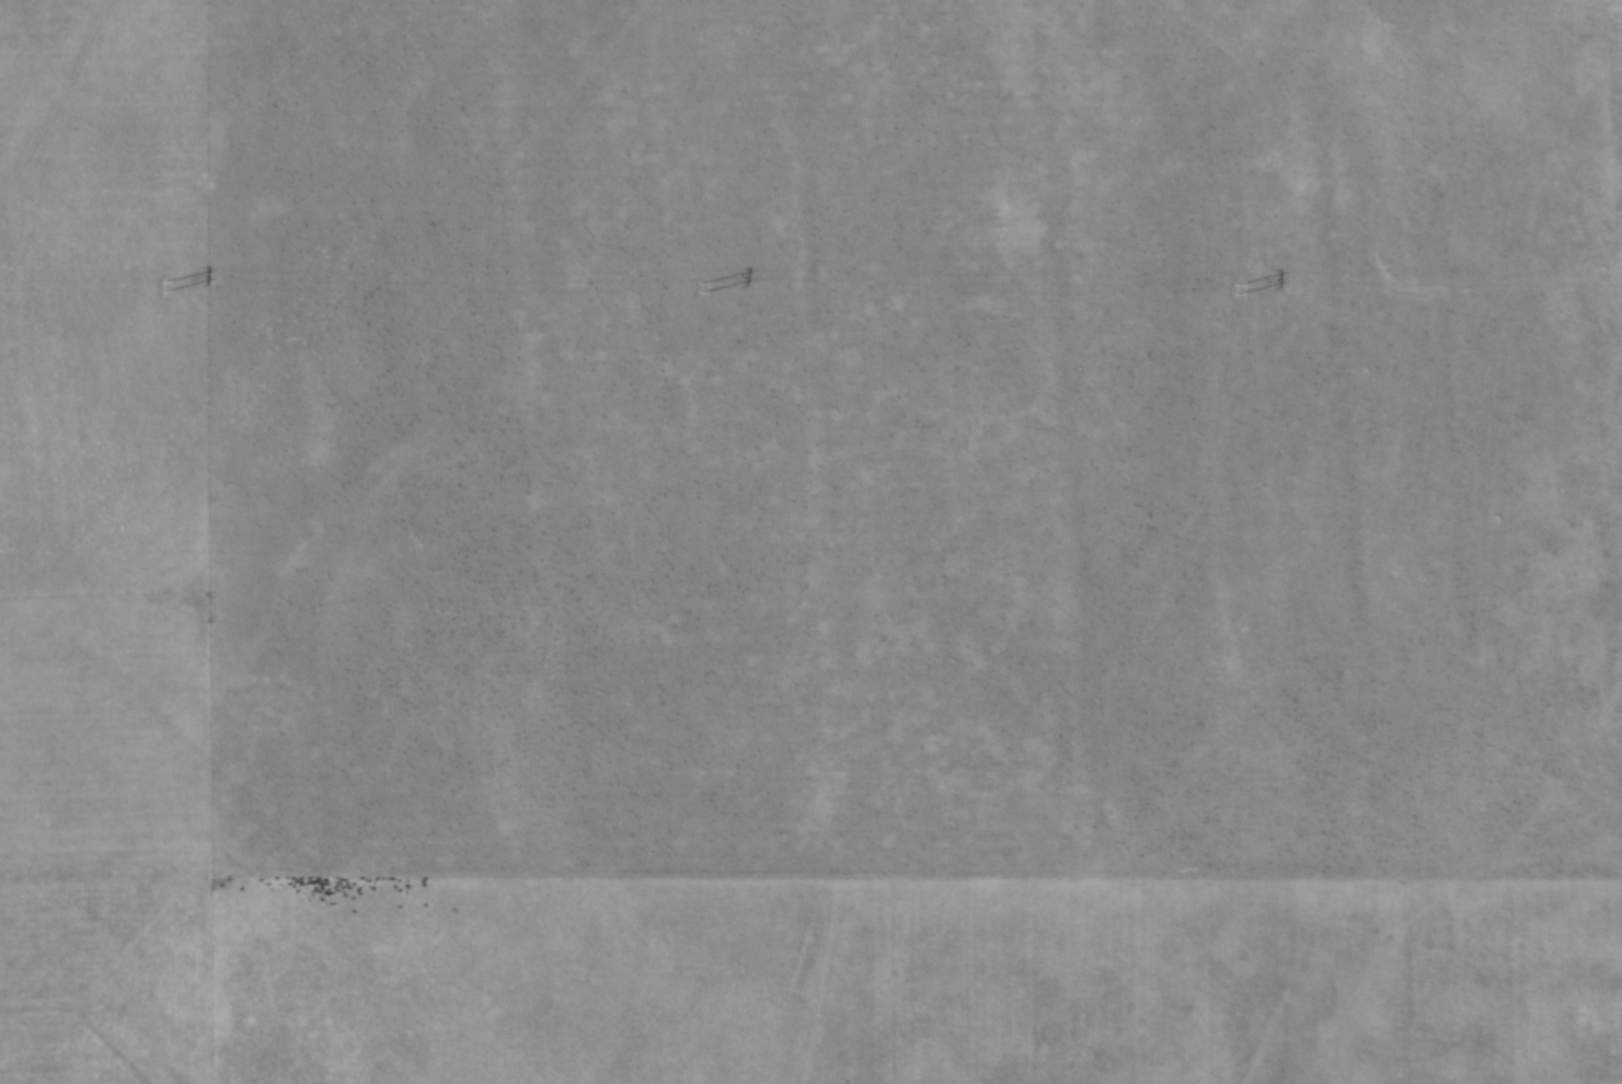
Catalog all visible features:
power tower: (163, 288)
power tower: (700, 290)
power tower: (1236, 291)

